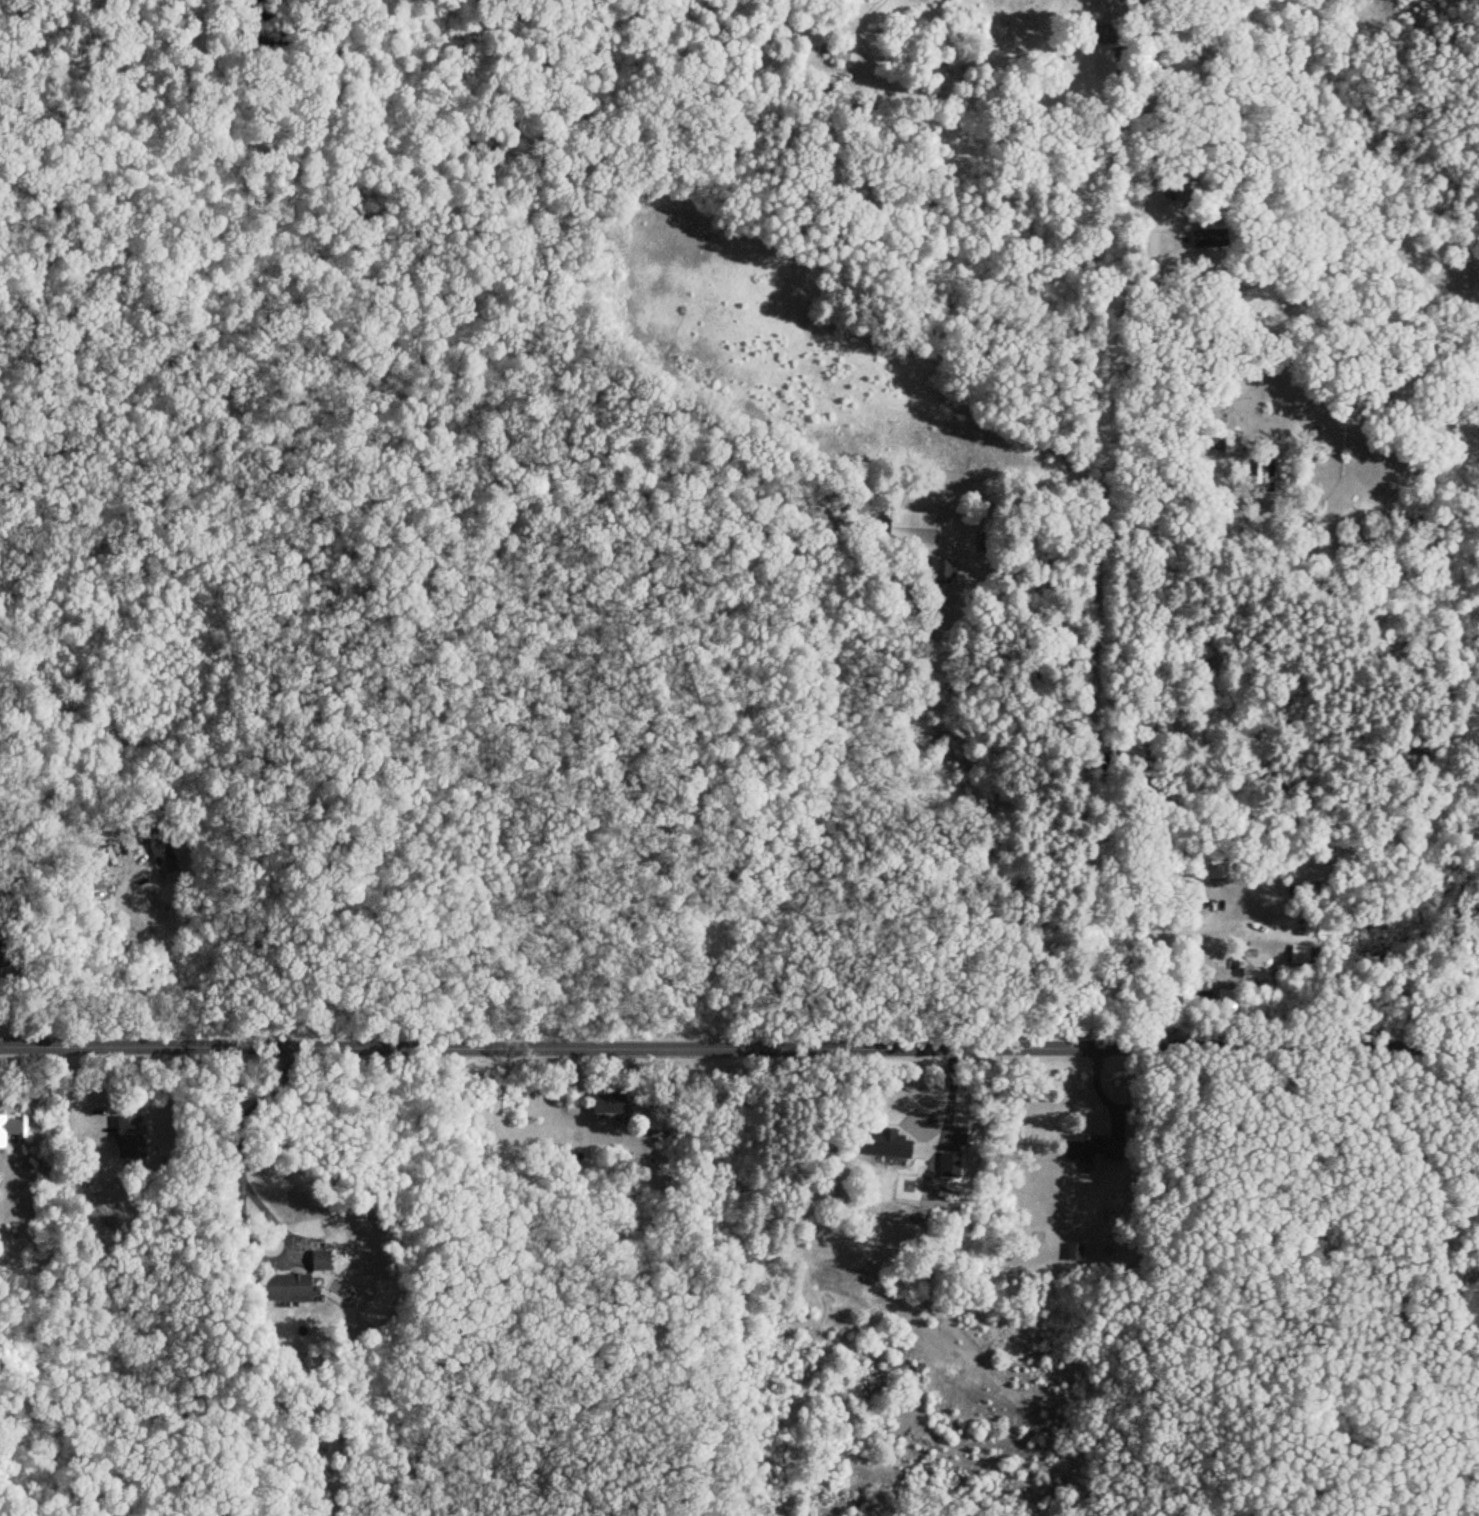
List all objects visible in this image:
building: (1205, 239)
building: (1229, 443)
road: (1146, 522)
building: (909, 528)
road: (1041, 558)
building: (158, 850)
road: (100, 955)
building: (1294, 956)
building: (1251, 969)
road: (739, 1043)
road: (275, 1076)
building: (607, 1103)
building: (658, 1121)
building: (10, 1132)
building: (127, 1138)
building: (889, 1144)
road: (241, 1151)
building: (1090, 1151)
building: (946, 1164)
building: (1071, 1252)
building: (318, 1261)
building: (286, 1287)

